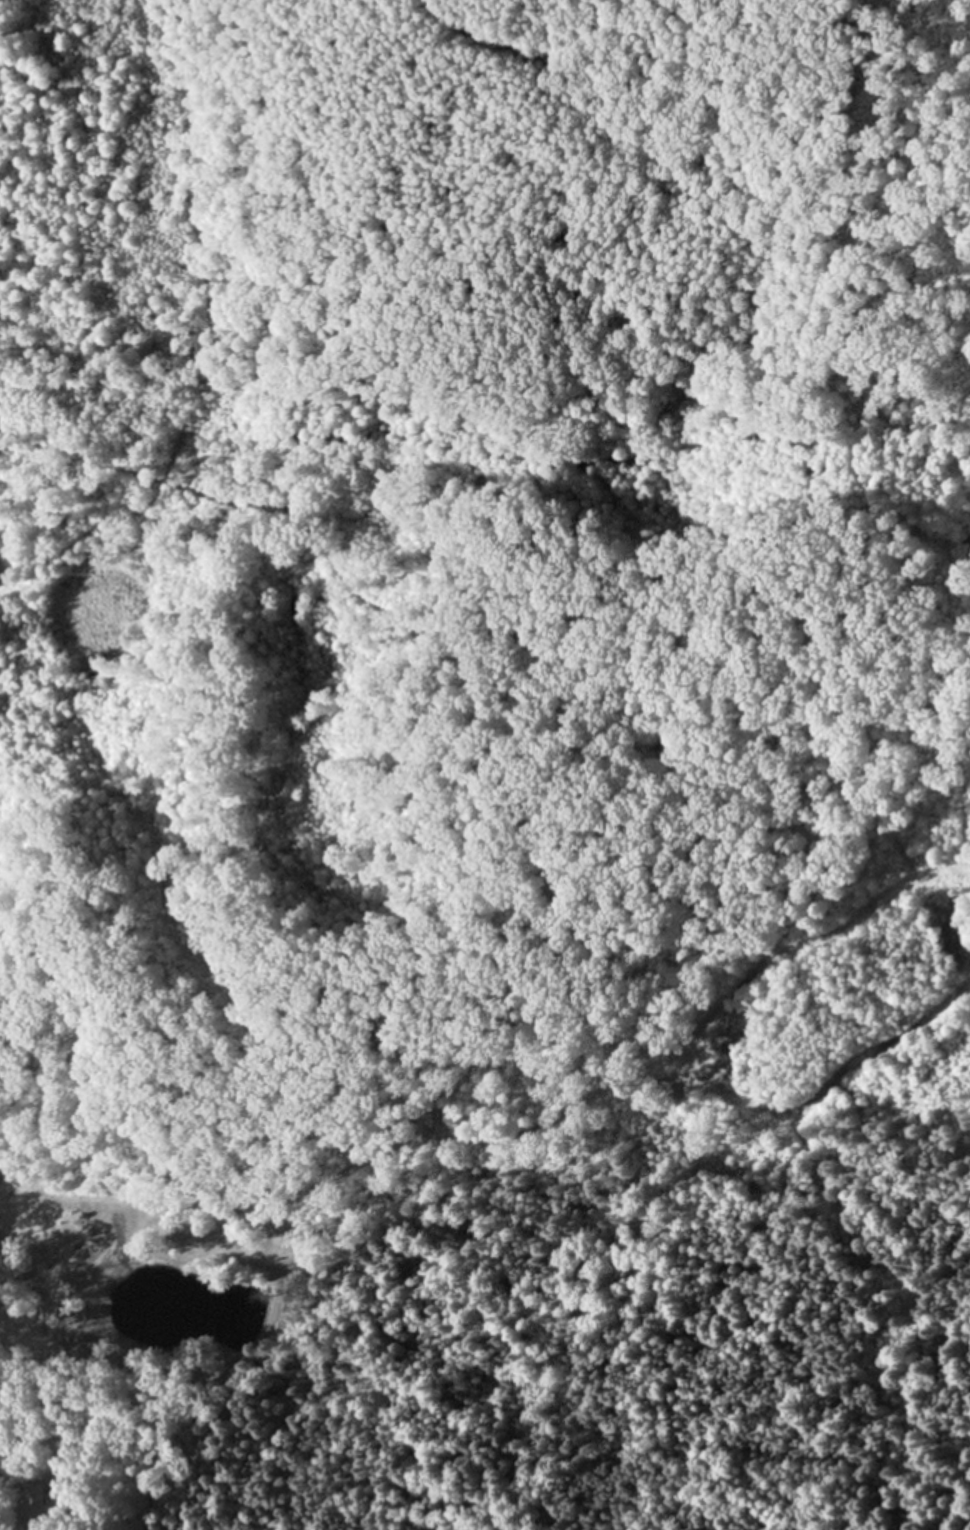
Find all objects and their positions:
road: (80, 1194)
building: (209, 1249)

